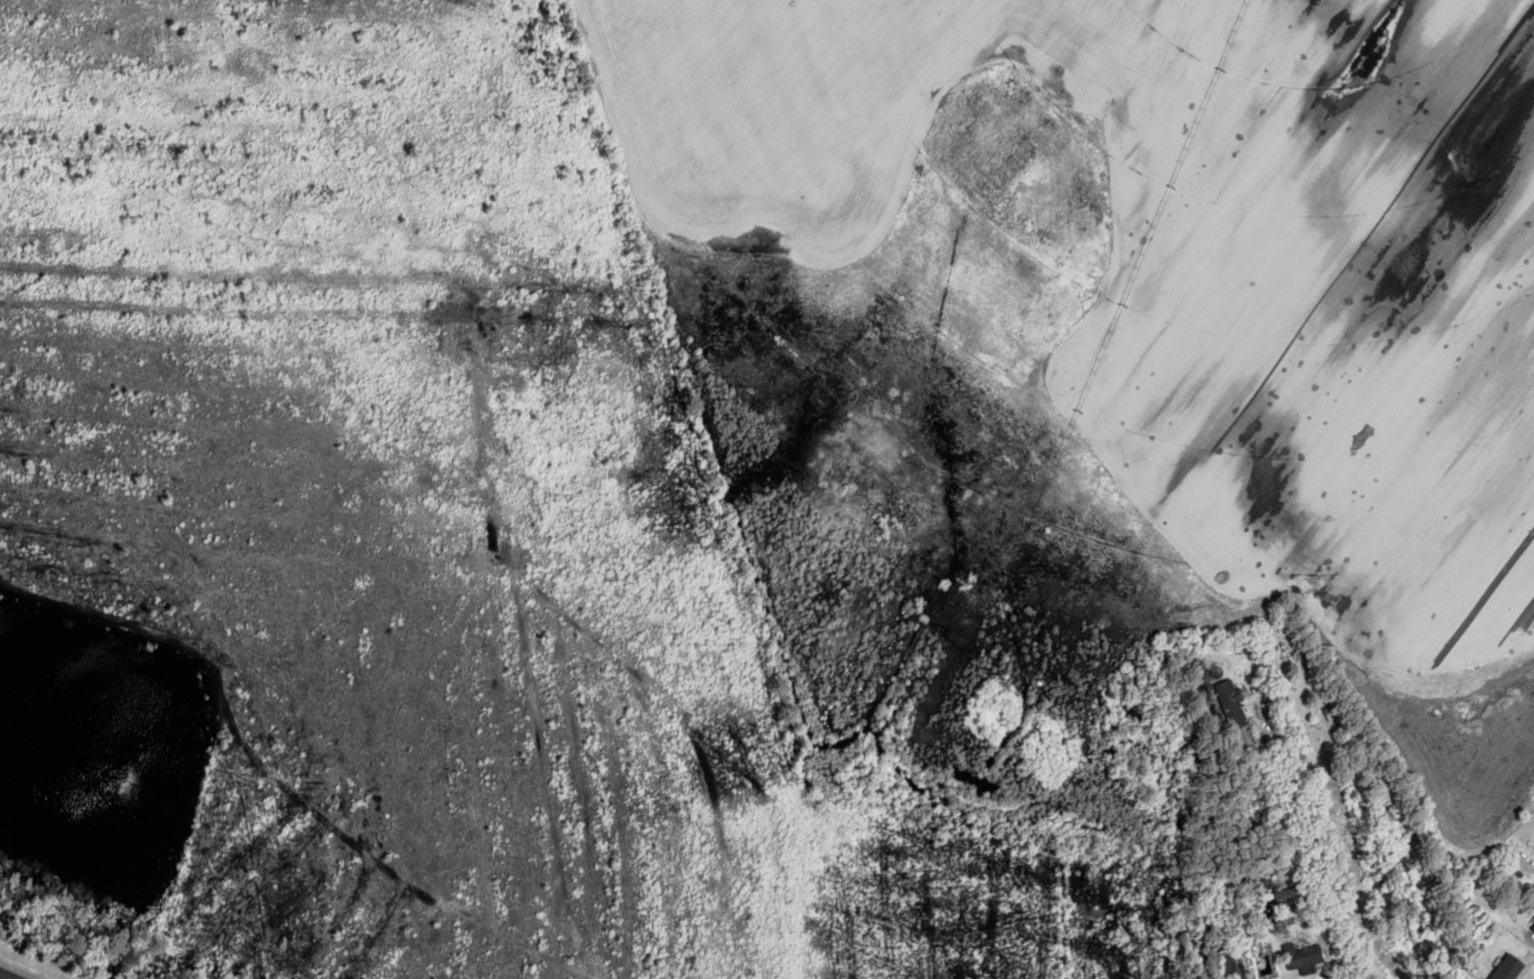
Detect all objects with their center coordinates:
building: (1332, 709)
building: (1237, 715)
road: (1347, 864)
building: (1533, 928)
building: (1304, 957)
building: (1229, 966)
building: (1520, 970)
road: (3, 977)

